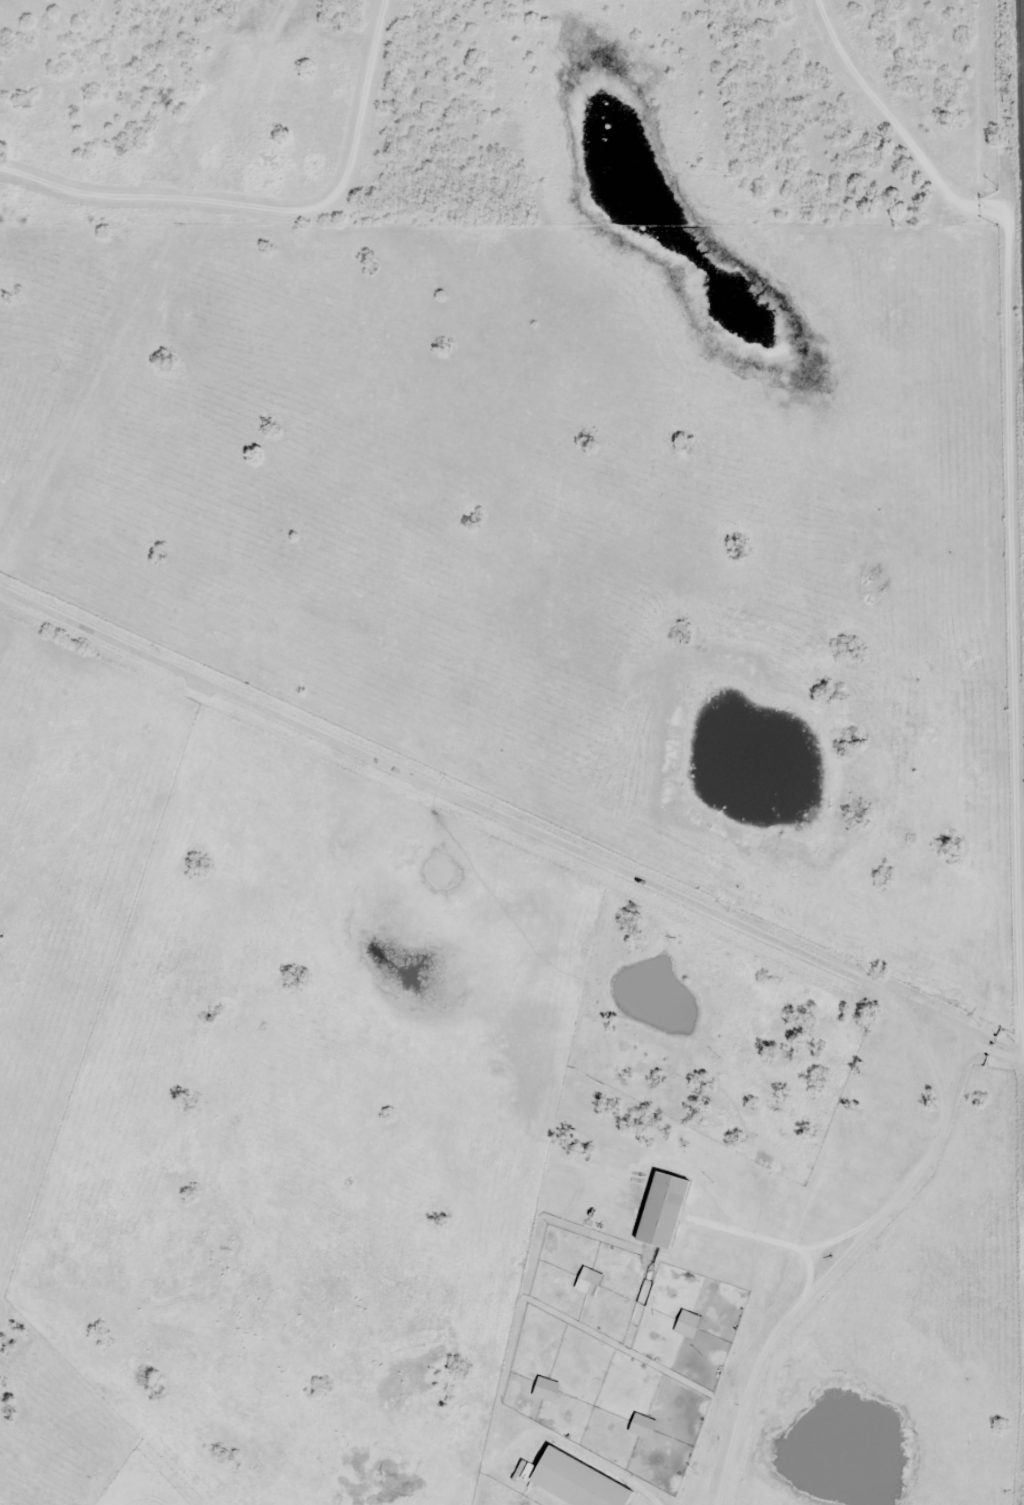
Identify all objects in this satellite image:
road: (12, 516)
road: (504, 810)
building: (663, 1208)
road: (407, 1250)
road: (807, 1250)
building: (589, 1280)
building: (689, 1323)
building: (546, 1387)
building: (643, 1425)
building: (579, 1481)

